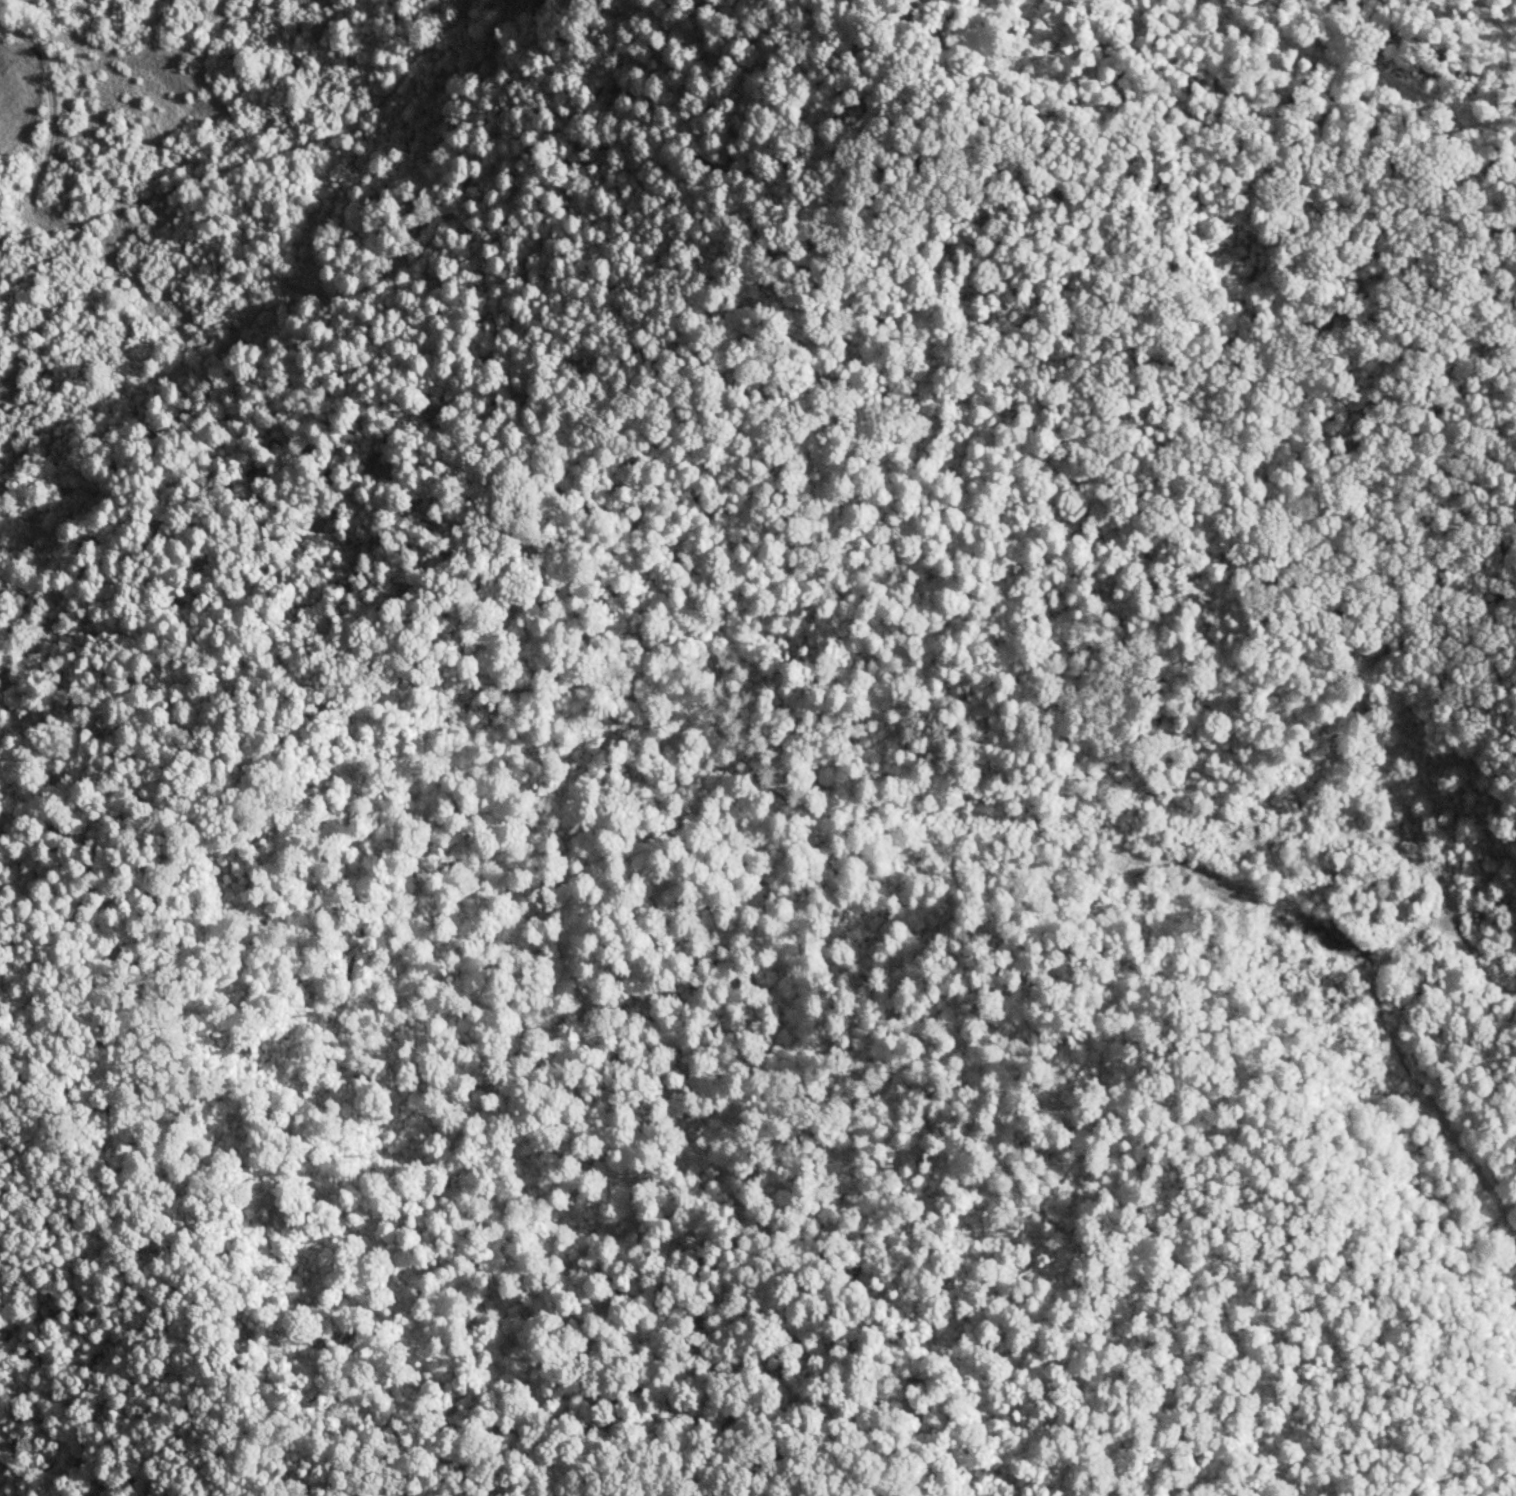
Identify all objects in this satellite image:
road: (1358, 926)

